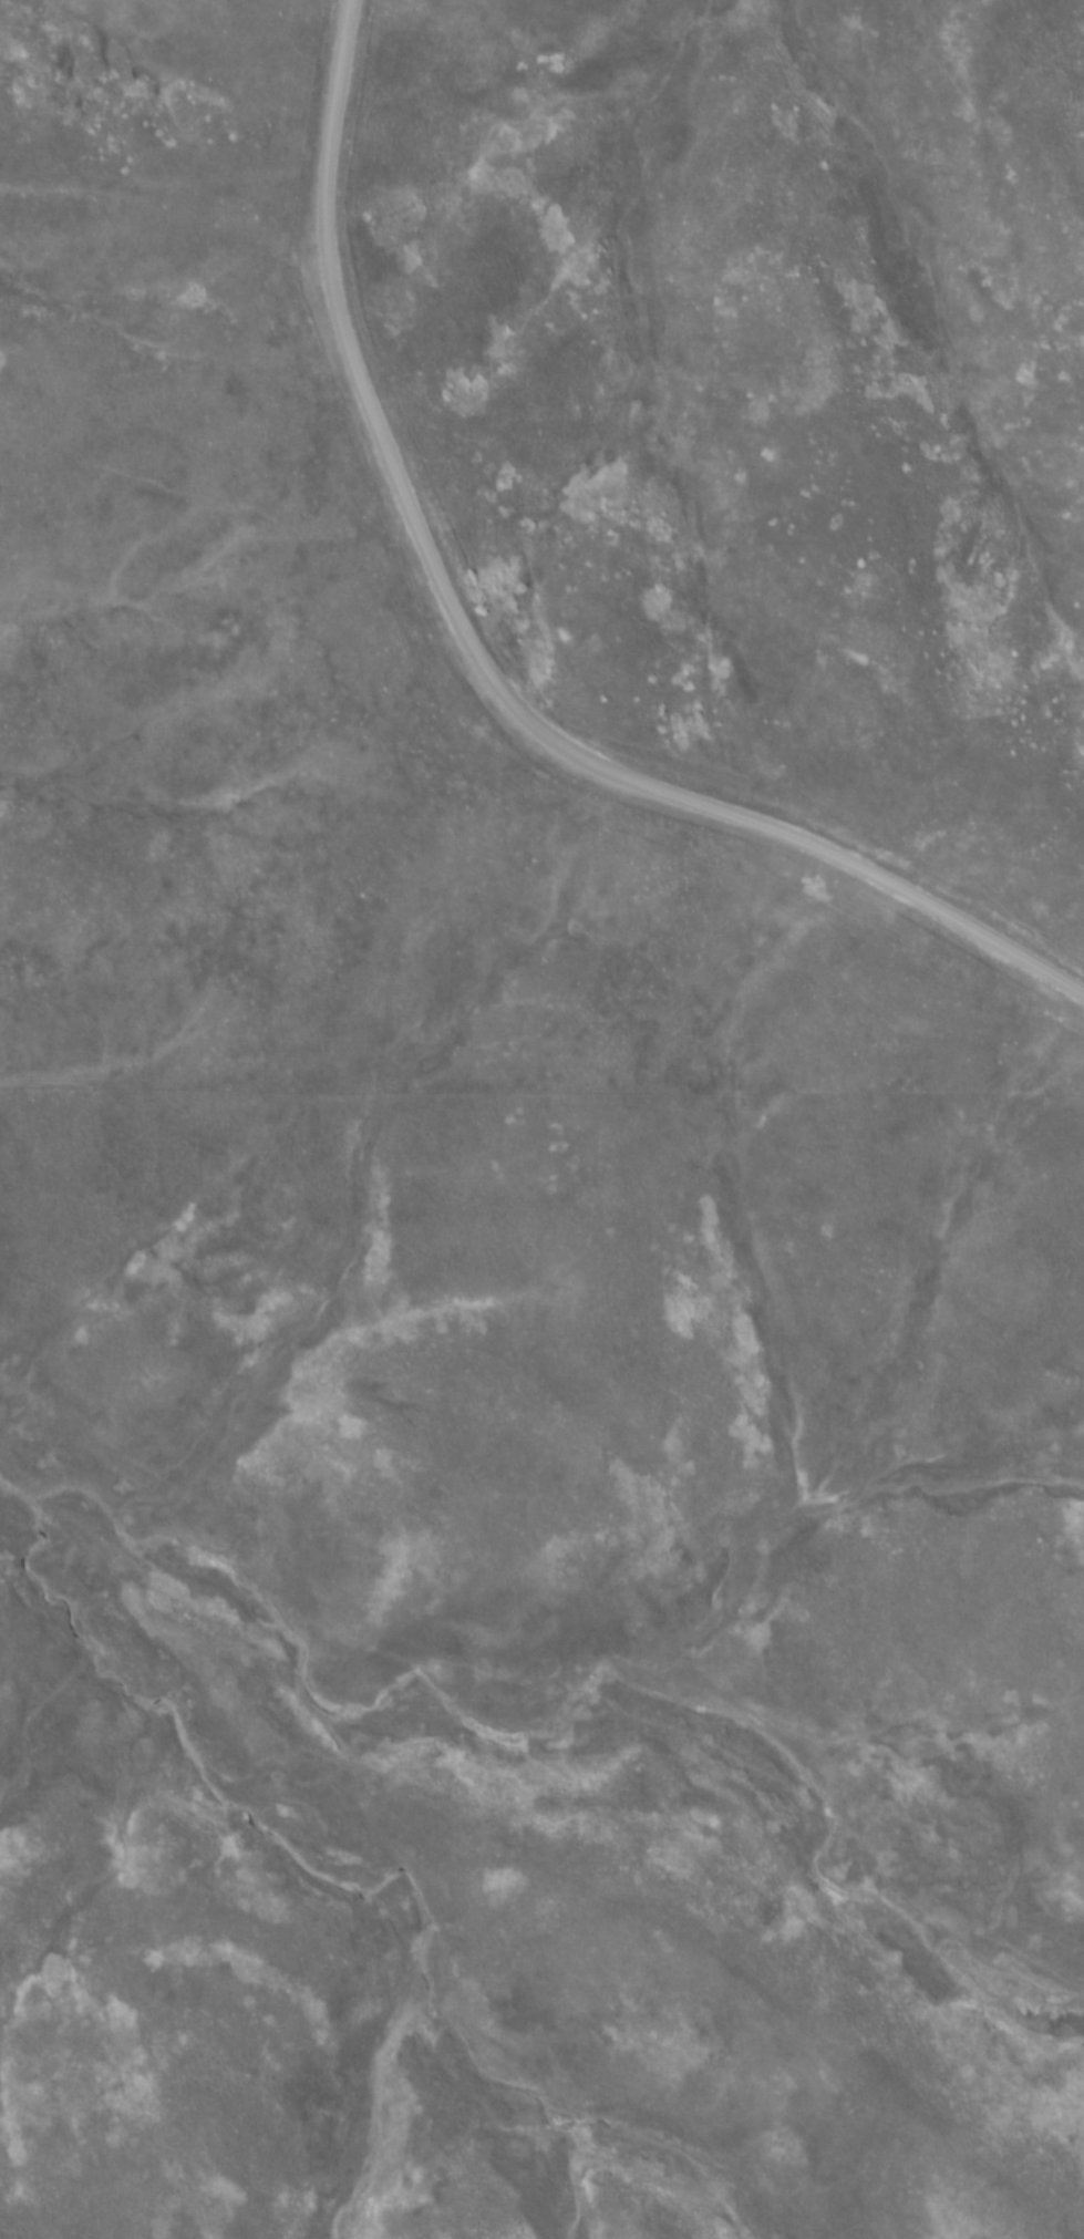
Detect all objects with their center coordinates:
road: (486, 658)

